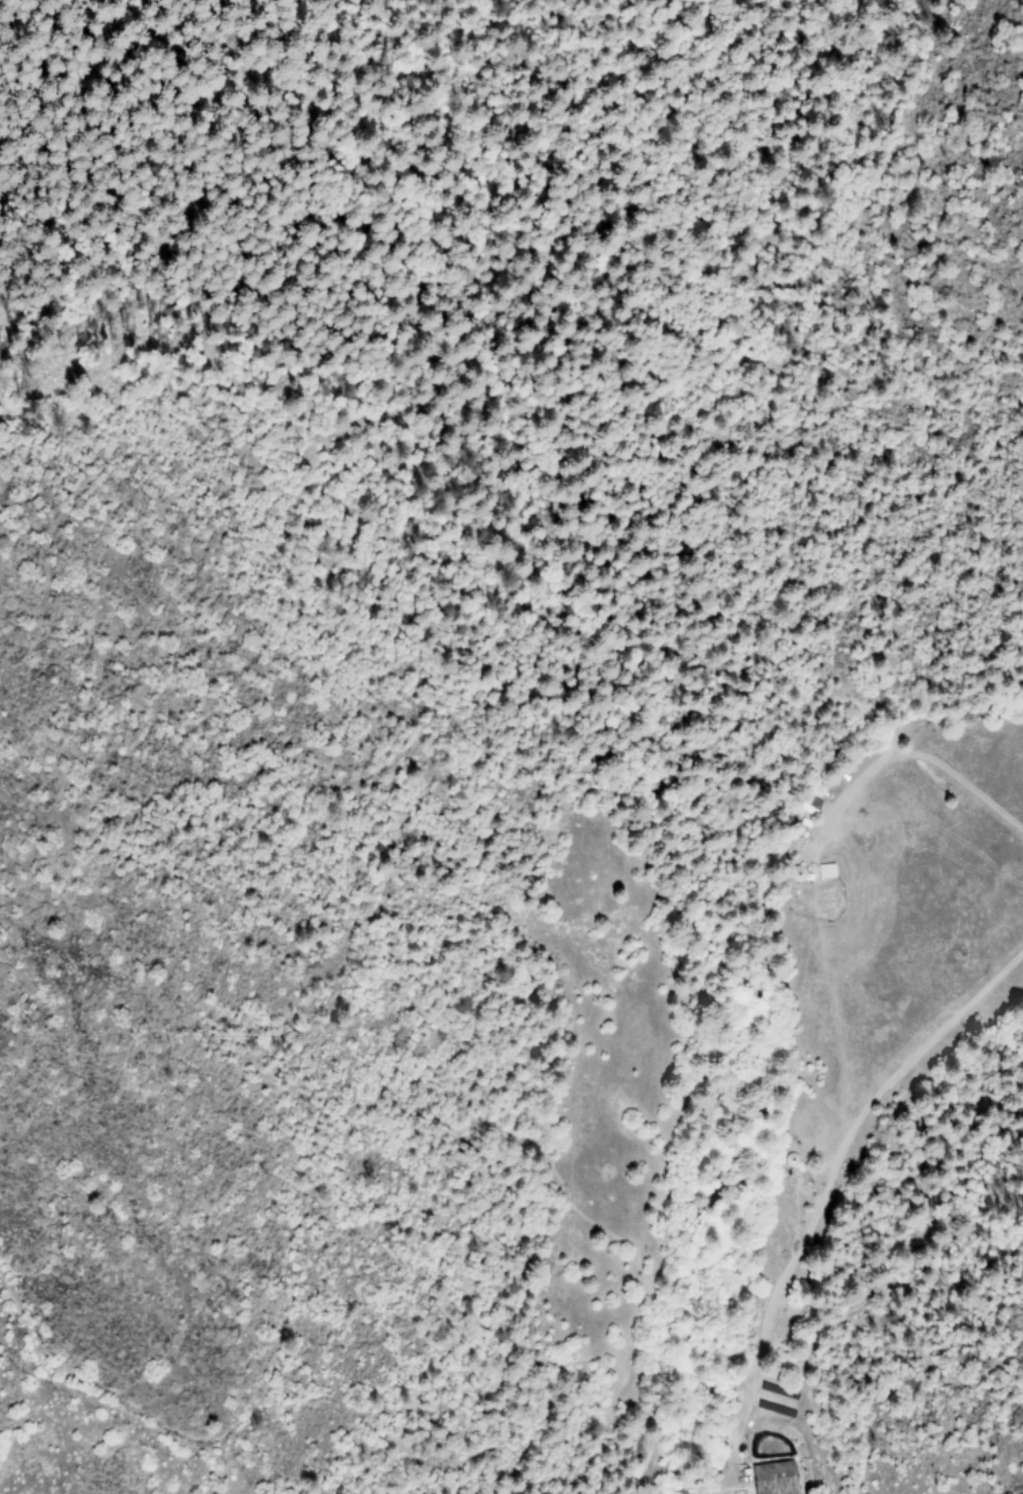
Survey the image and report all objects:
road: (781, 89)
road: (744, 164)
road: (356, 867)
building: (825, 872)
building: (773, 1479)
building: (740, 1493)

